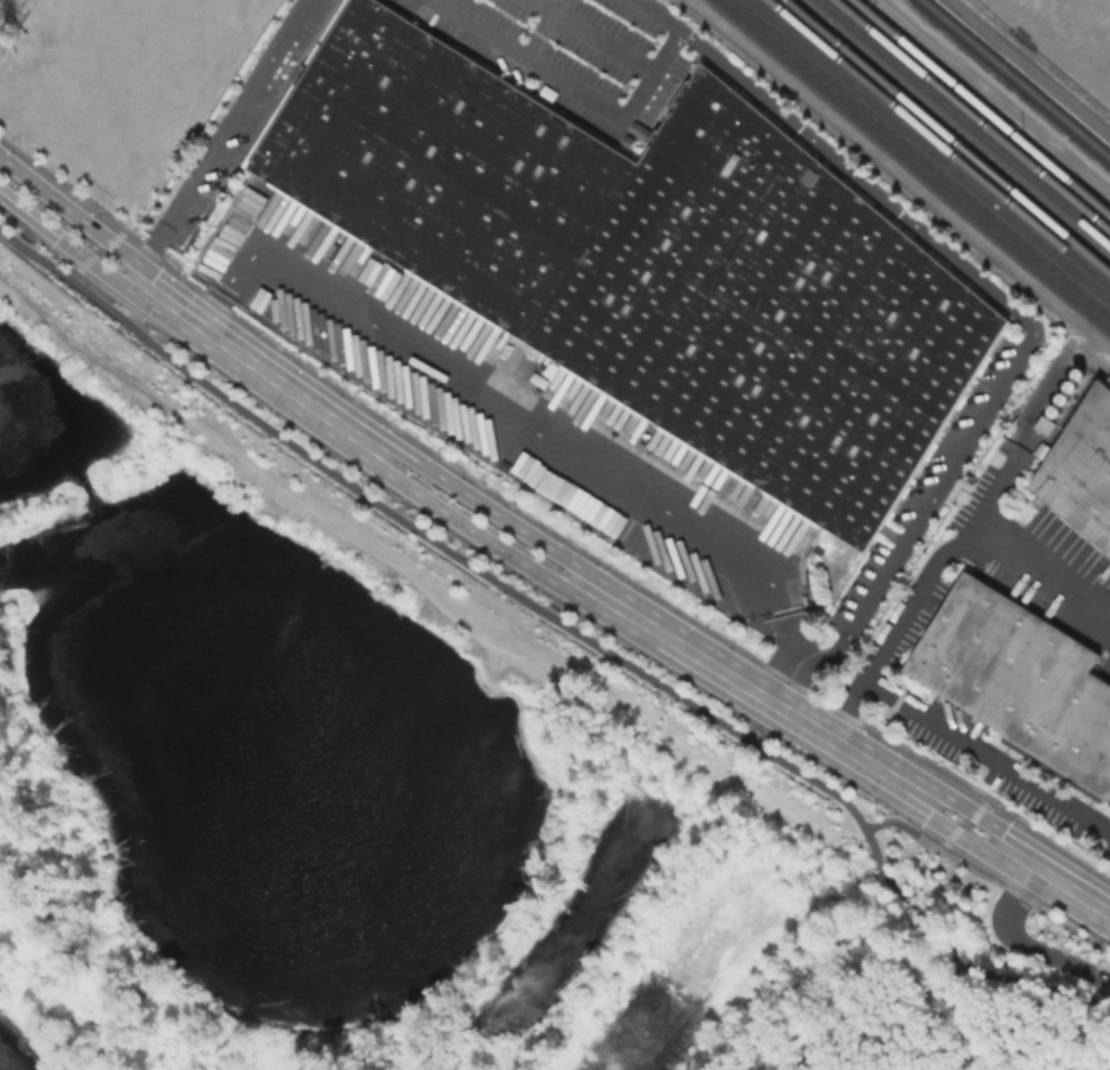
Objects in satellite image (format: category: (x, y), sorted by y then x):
road: (659, 14)
road: (294, 23)
power tower: (9, 34)
road: (593, 37)
railway: (1013, 81)
road: (574, 92)
railway: (980, 107)
road: (187, 110)
railway: (971, 116)
railway: (963, 123)
railway: (946, 136)
railway: (938, 143)
railway: (928, 152)
railway: (919, 159)
road: (204, 163)
railway: (910, 167)
road: (899, 173)
road: (77, 216)
road: (69, 246)
road: (98, 252)
building: (653, 263)
road: (218, 309)
road: (1033, 325)
railway: (1091, 364)
road: (256, 367)
road: (514, 413)
building: (1079, 468)
road: (484, 504)
road: (469, 528)
building: (820, 551)
road: (1043, 575)
road: (919, 592)
road: (564, 625)
road: (777, 655)
building: (1017, 682)
road: (755, 691)
road: (989, 753)
road: (972, 811)
road: (965, 823)
road: (906, 825)
road: (957, 834)
road: (1048, 841)
road: (1055, 879)
road: (1026, 900)
road: (1022, 944)
road: (873, 1012)

